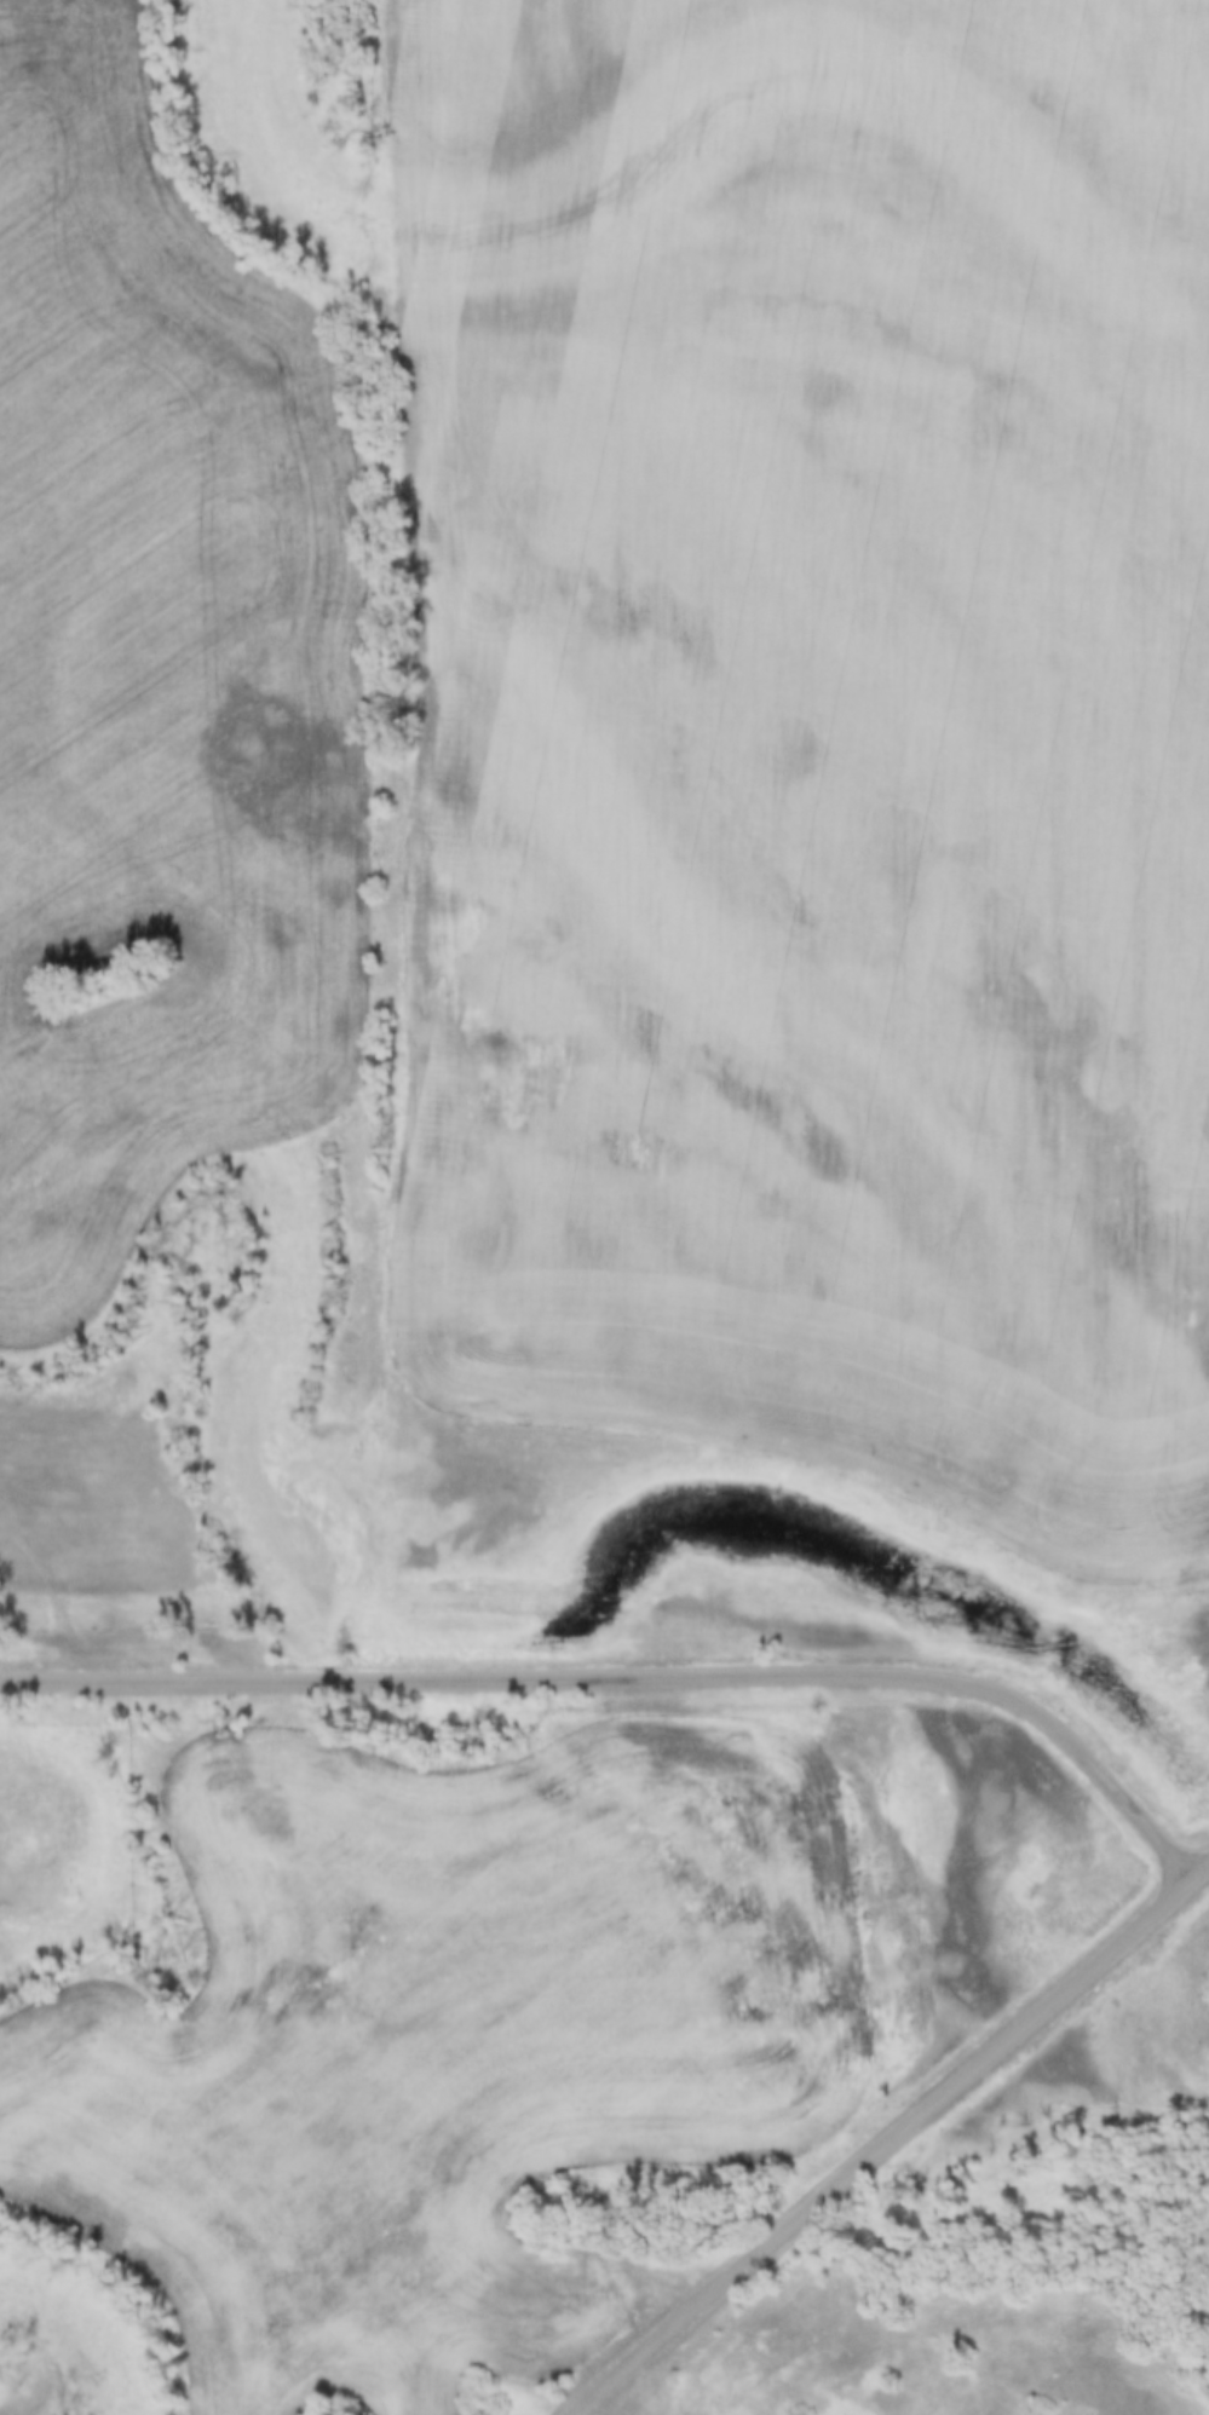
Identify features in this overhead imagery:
road: (635, 1676)
road: (888, 2138)

